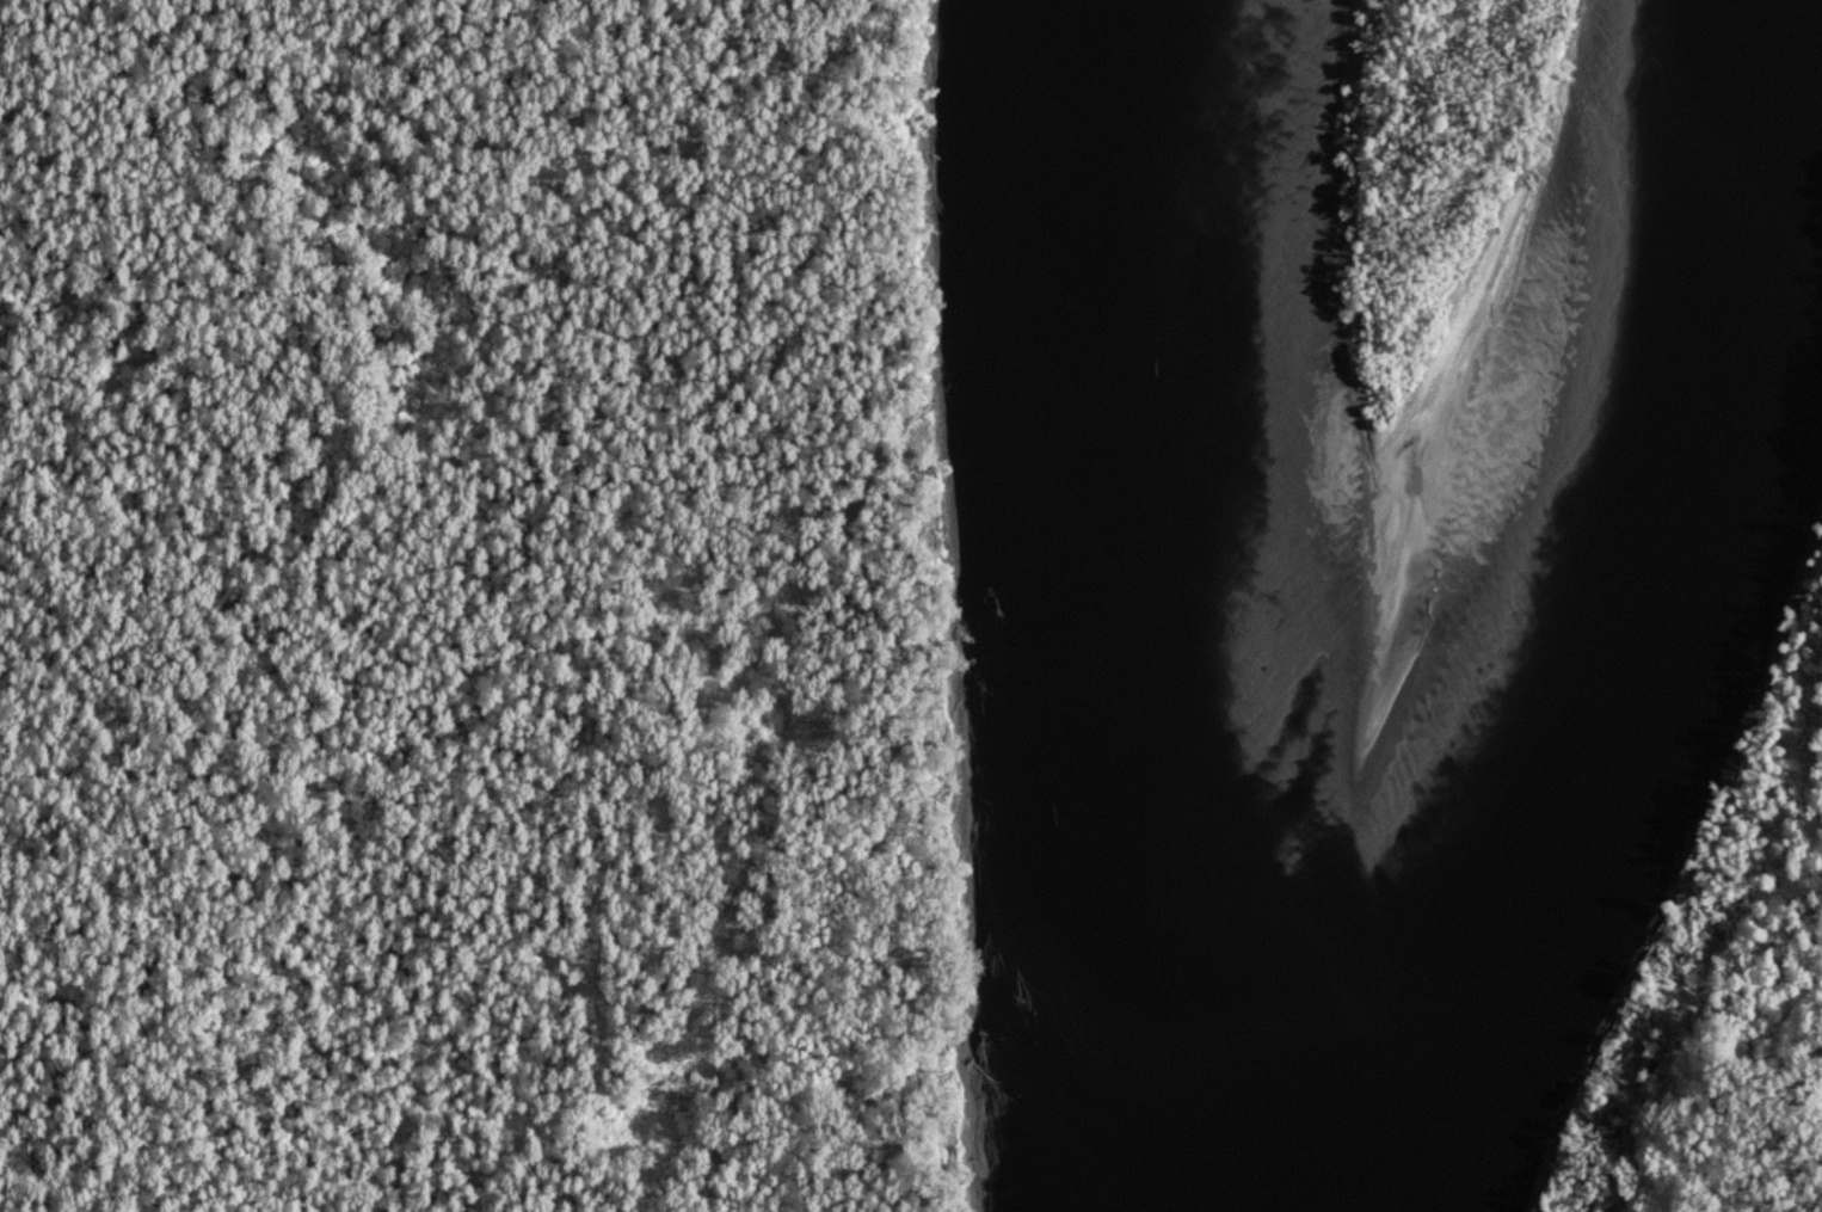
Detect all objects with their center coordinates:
river: (1324, 607)

